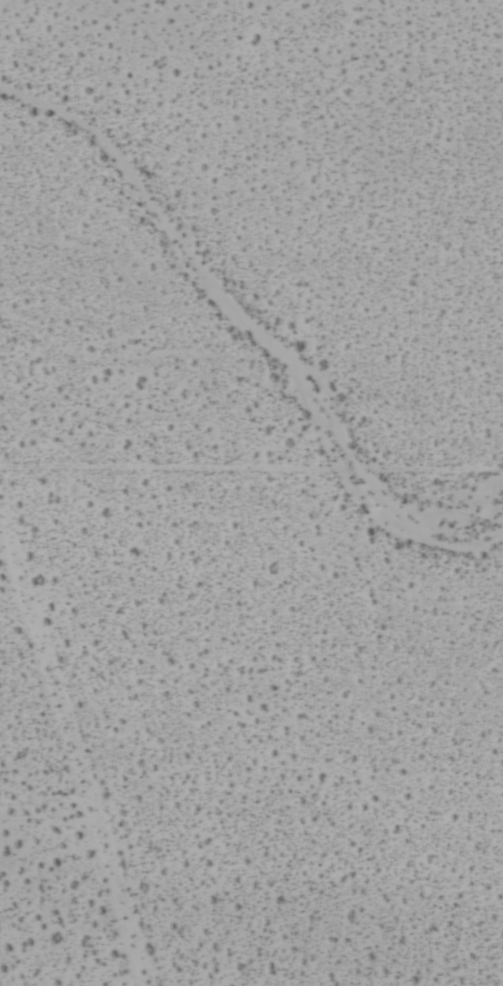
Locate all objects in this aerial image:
road: (87, 745)

